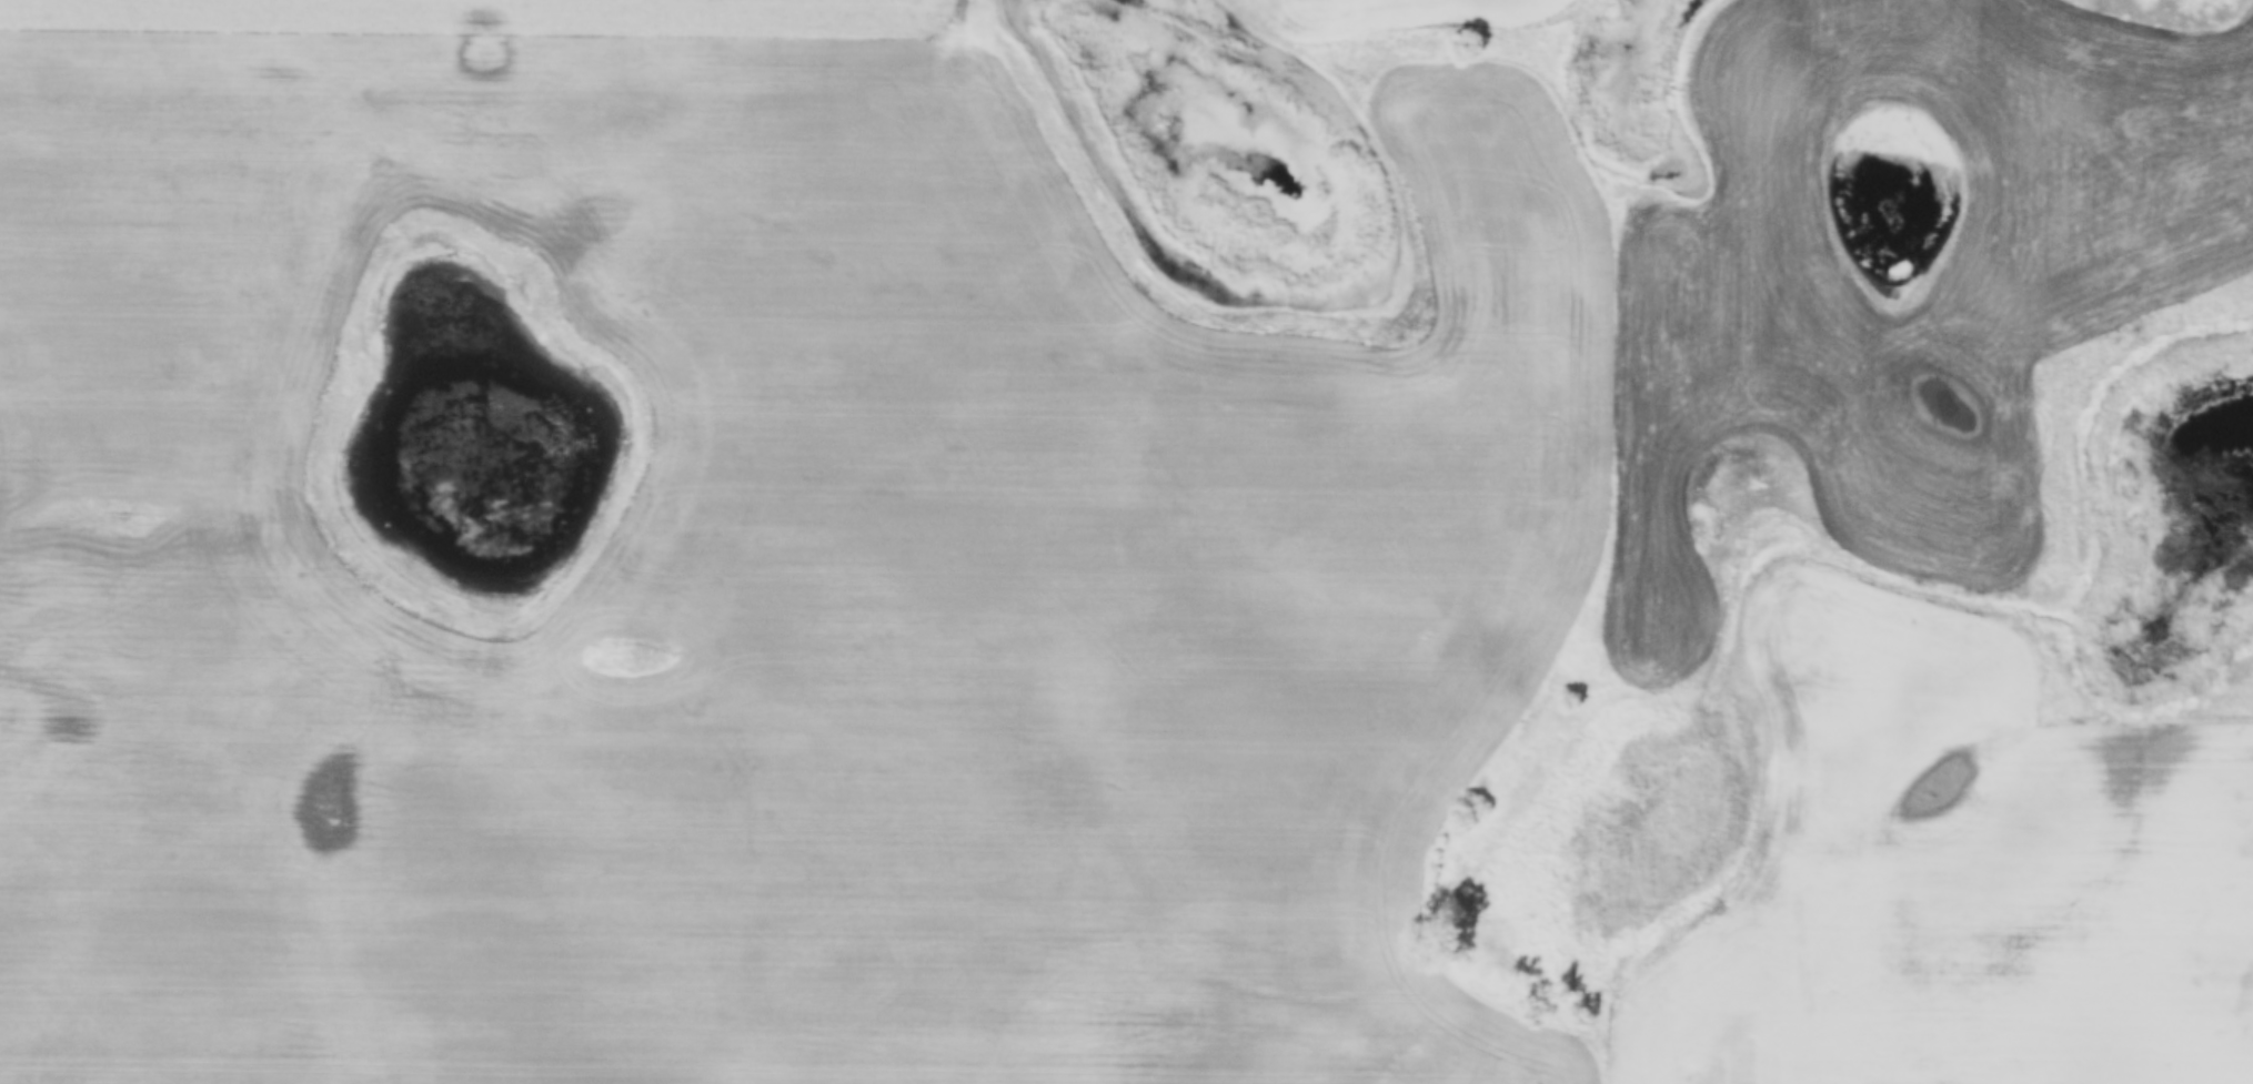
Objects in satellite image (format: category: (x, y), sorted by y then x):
building: (1767, 1061)

